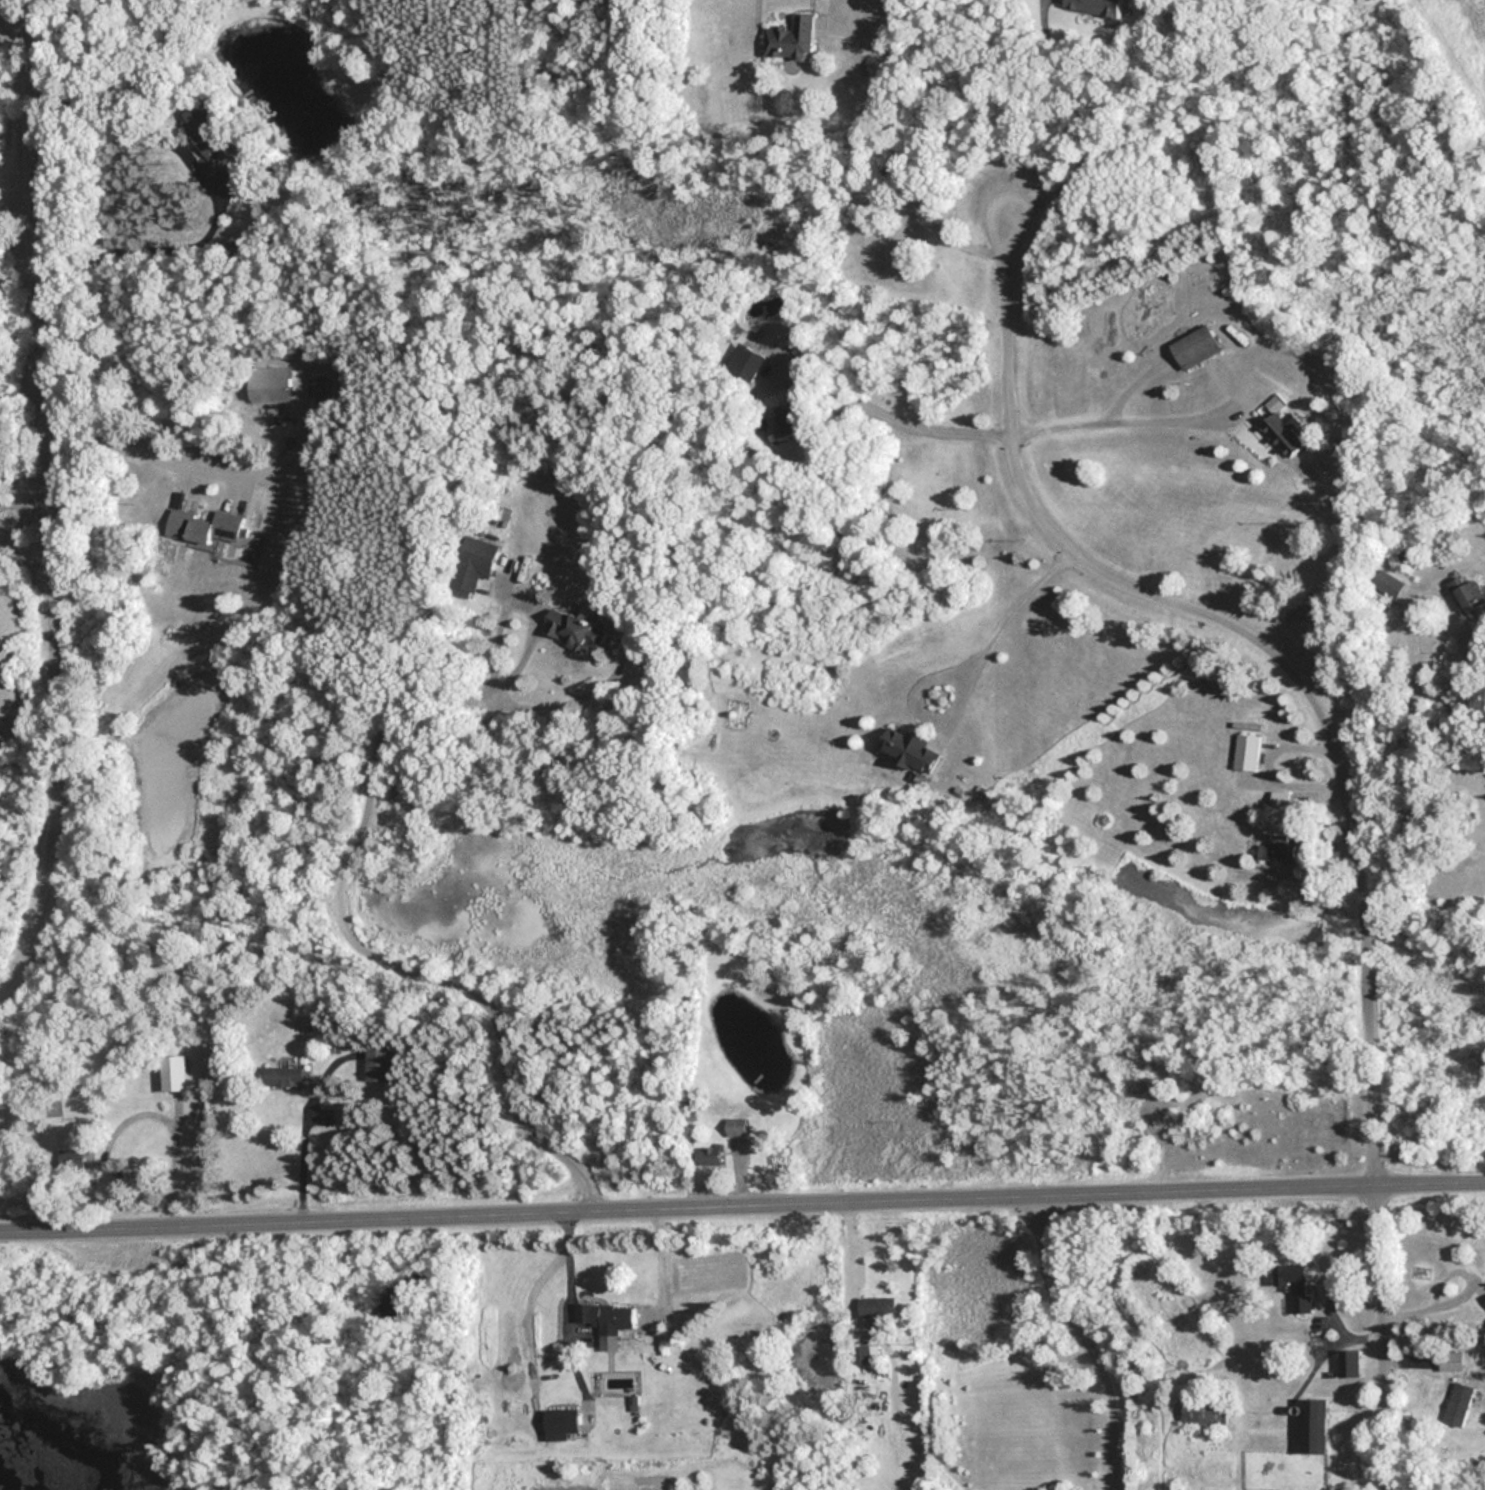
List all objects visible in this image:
building: (1095, 6)
building: (790, 38)
road: (1077, 121)
building: (207, 136)
road: (893, 175)
road: (16, 187)
road: (215, 196)
building: (1195, 347)
building: (744, 363)
building: (266, 384)
building: (317, 387)
building: (782, 422)
road: (1114, 423)
road: (899, 424)
building: (1281, 433)
road: (197, 472)
road: (45, 503)
building: (202, 527)
road: (24, 554)
building: (473, 563)
building: (1387, 584)
building: (1467, 593)
building: (575, 631)
road: (969, 662)
road: (1345, 741)
building: (910, 750)
building: (1247, 752)
road: (1417, 766)
building: (1281, 798)
building: (1277, 848)
road: (339, 922)
building: (380, 1064)
building: (176, 1073)
building: (285, 1076)
building: (735, 1127)
building: (709, 1155)
road: (304, 1160)
road: (742, 1204)
road: (843, 1252)
building: (1291, 1275)
building: (1483, 1301)
road: (569, 1306)
building: (875, 1308)
road: (1428, 1312)
building: (605, 1317)
road: (1343, 1340)
road: (1082, 1341)
building: (862, 1354)
park: (232, 1359)
building: (1450, 1360)
building: (1348, 1362)
building: (1458, 1403)
building: (1205, 1411)
building: (562, 1423)
building: (1314, 1425)

